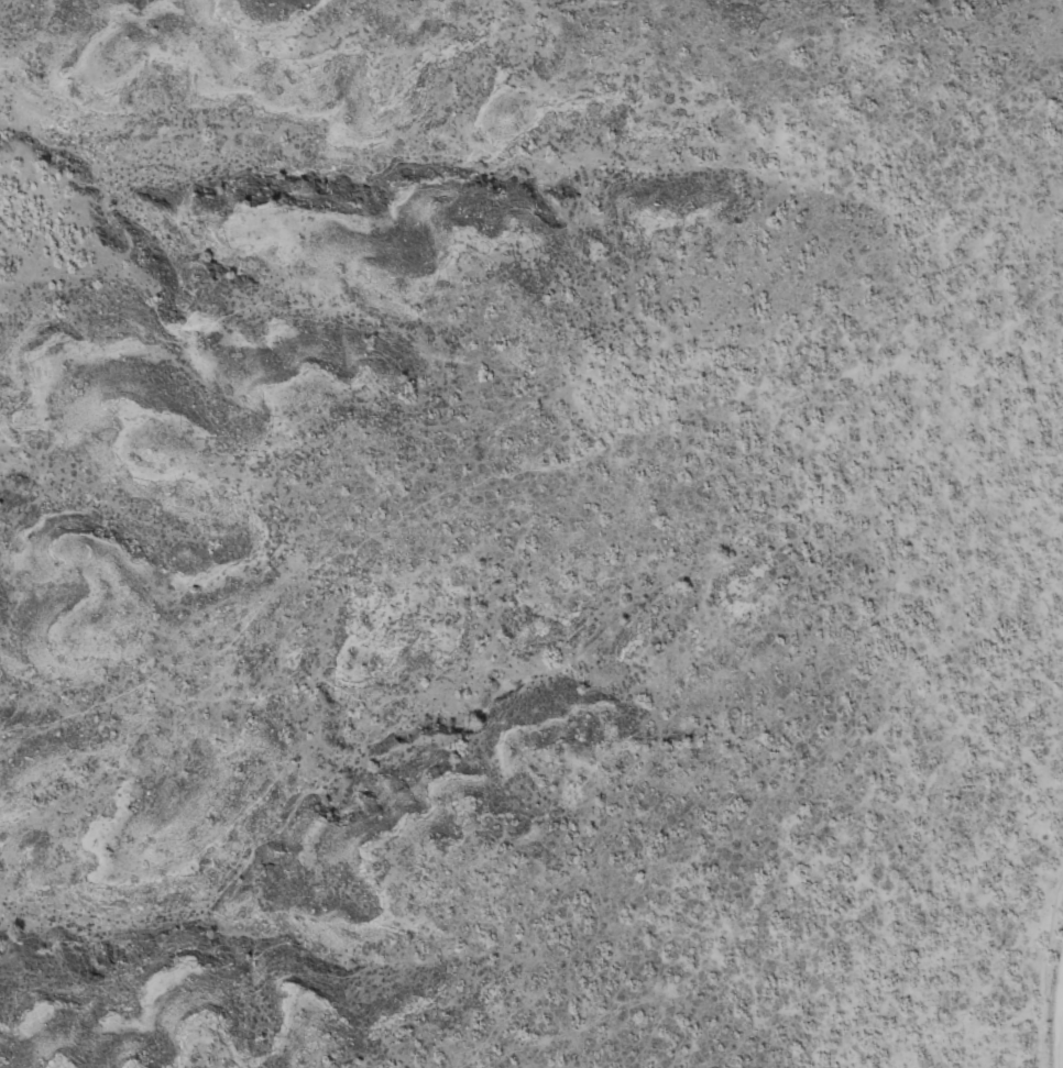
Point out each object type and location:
road: (1060, 1011)

